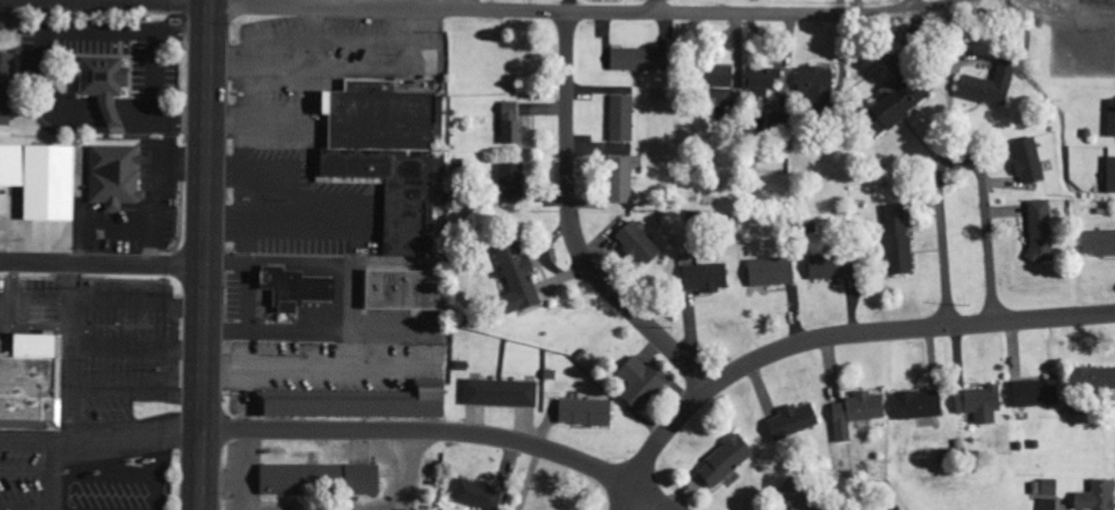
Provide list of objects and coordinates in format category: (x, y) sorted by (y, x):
road: (657, 8)
road: (429, 9)
building: (632, 60)
building: (760, 80)
building: (708, 81)
building: (99, 84)
building: (813, 84)
building: (985, 86)
building: (4, 88)
building: (890, 108)
building: (506, 111)
building: (618, 119)
building: (1109, 119)
building: (510, 133)
building: (382, 154)
road: (957, 157)
building: (1025, 162)
building: (112, 176)
building: (1109, 176)
building: (39, 181)
building: (618, 181)
building: (507, 185)
road: (572, 227)
building: (1037, 232)
building: (893, 241)
building: (1096, 244)
building: (635, 245)
road: (204, 254)
road: (102, 266)
building: (827, 267)
building: (767, 273)
building: (701, 278)
building: (515, 280)
building: (290, 289)
building: (398, 290)
road: (830, 335)
building: (1091, 378)
building: (27, 382)
building: (636, 382)
building: (497, 392)
building: (1031, 394)
building: (355, 404)
building: (976, 404)
building: (914, 405)
building: (581, 412)
building: (803, 412)
building: (853, 412)
road: (444, 432)
building: (731, 451)
building: (315, 479)
building: (1045, 487)
building: (474, 494)
building: (1094, 497)
building: (1047, 504)

